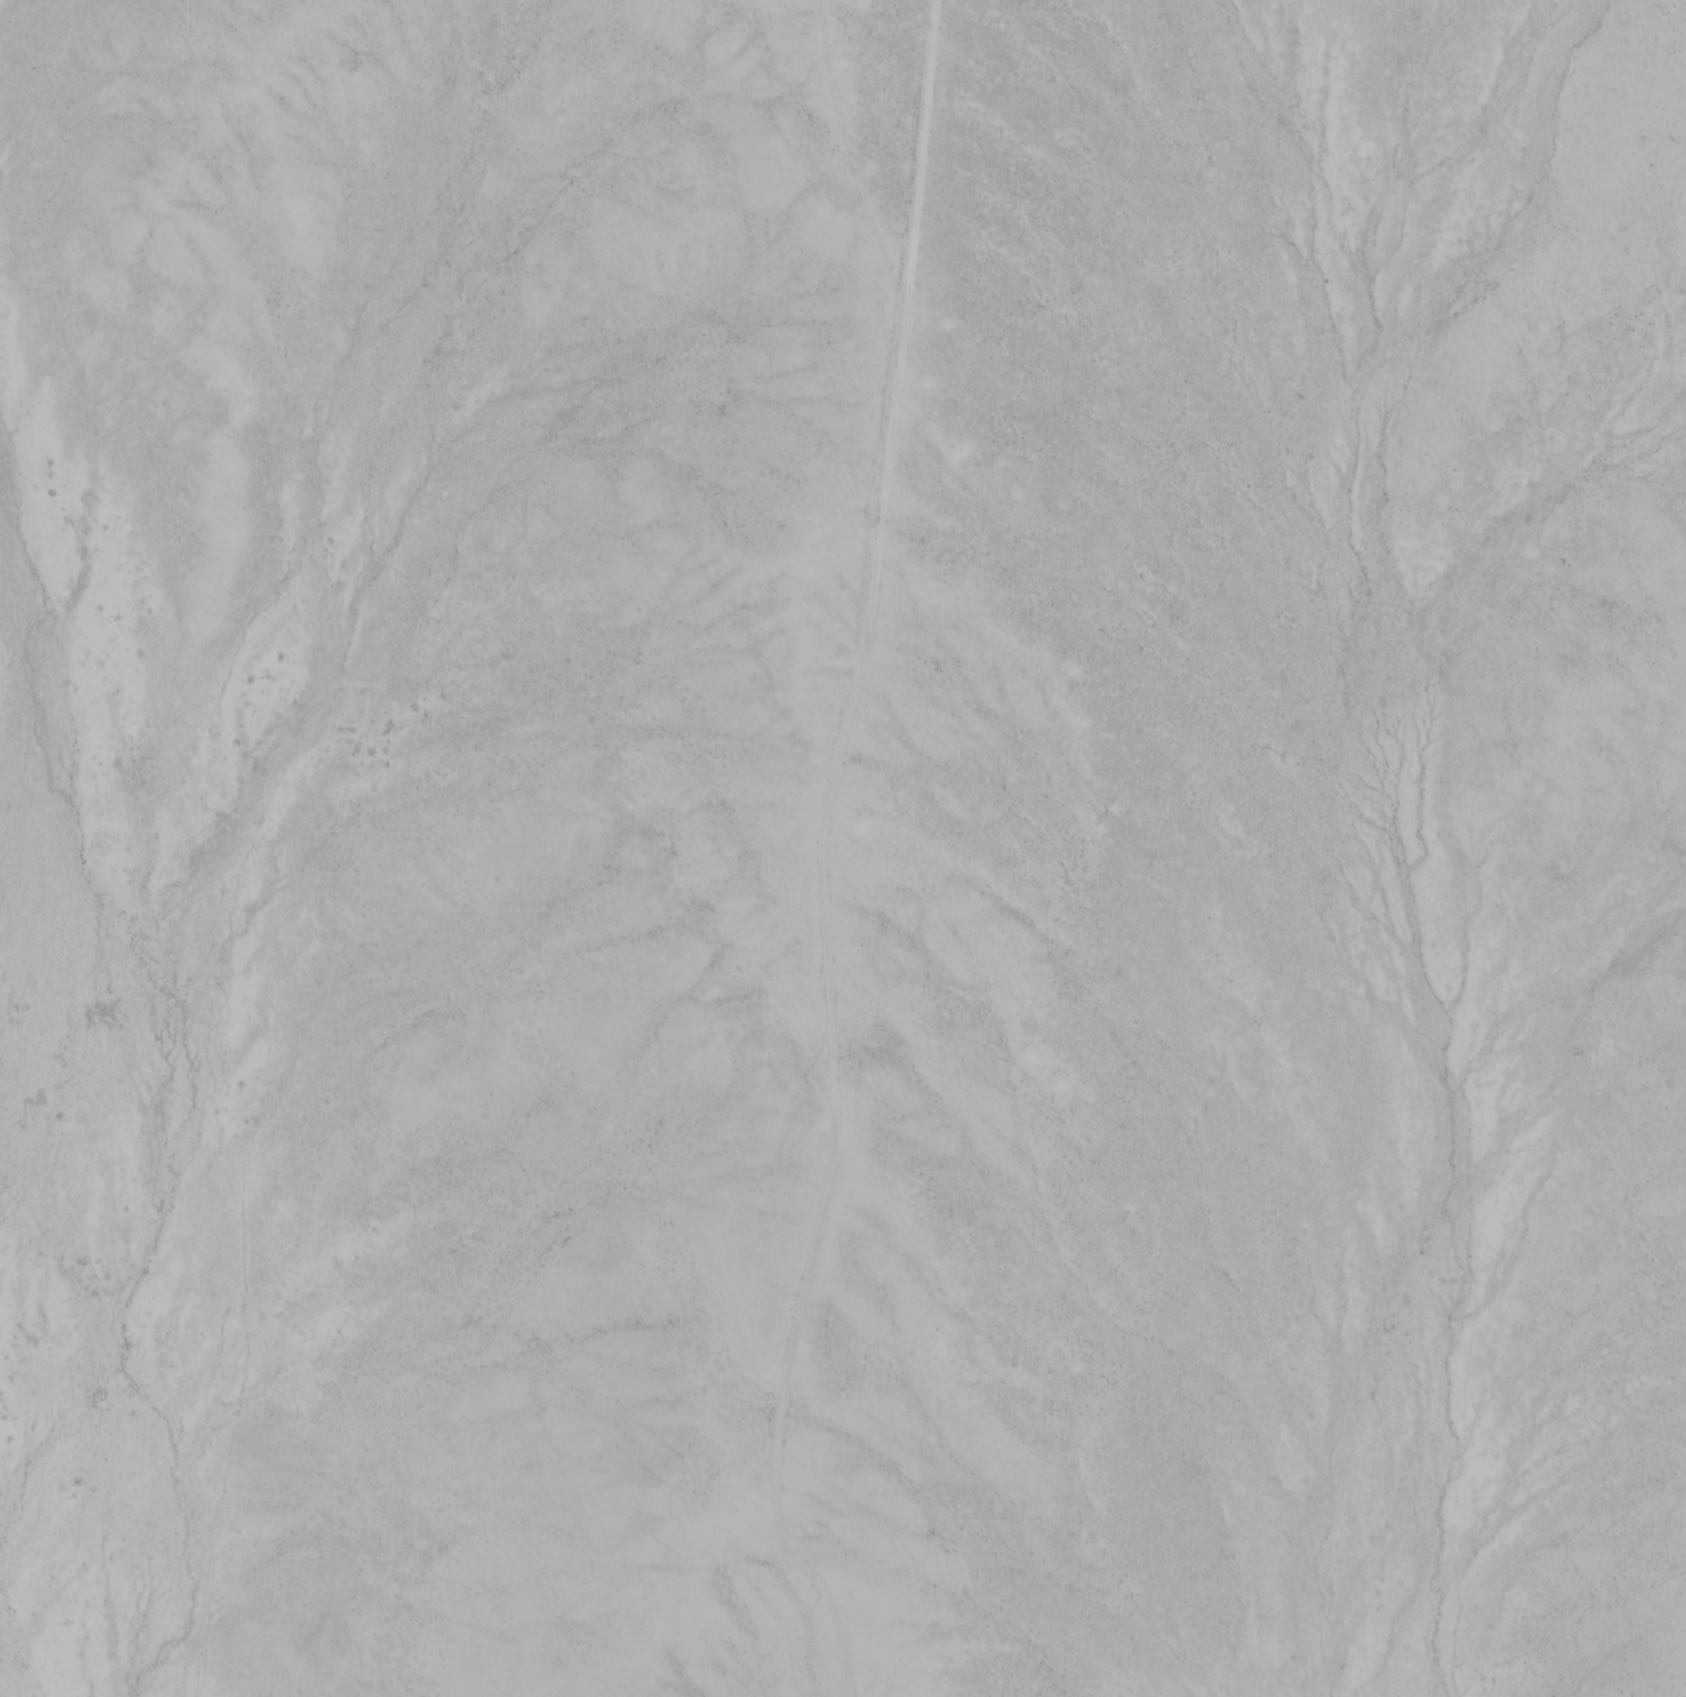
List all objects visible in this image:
road: (794, 852)

